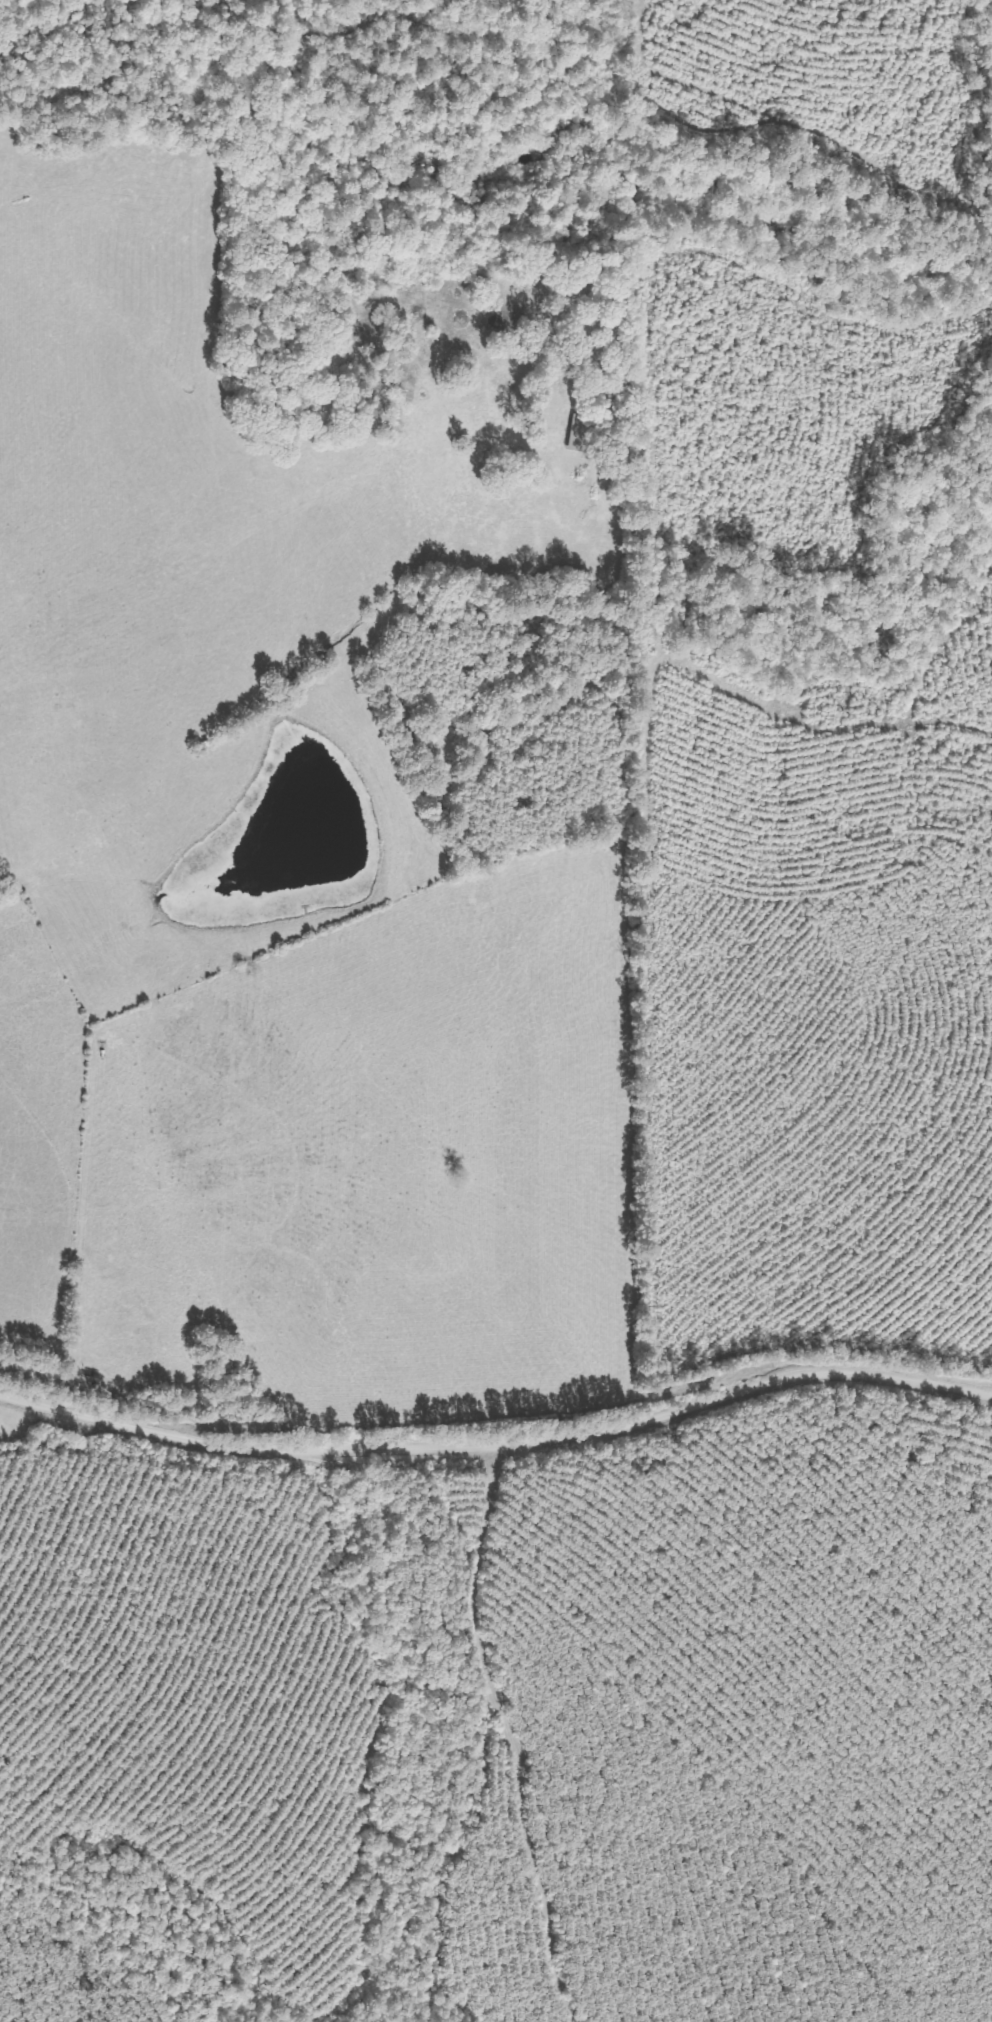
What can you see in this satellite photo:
building: (578, 432)
road: (497, 1442)

